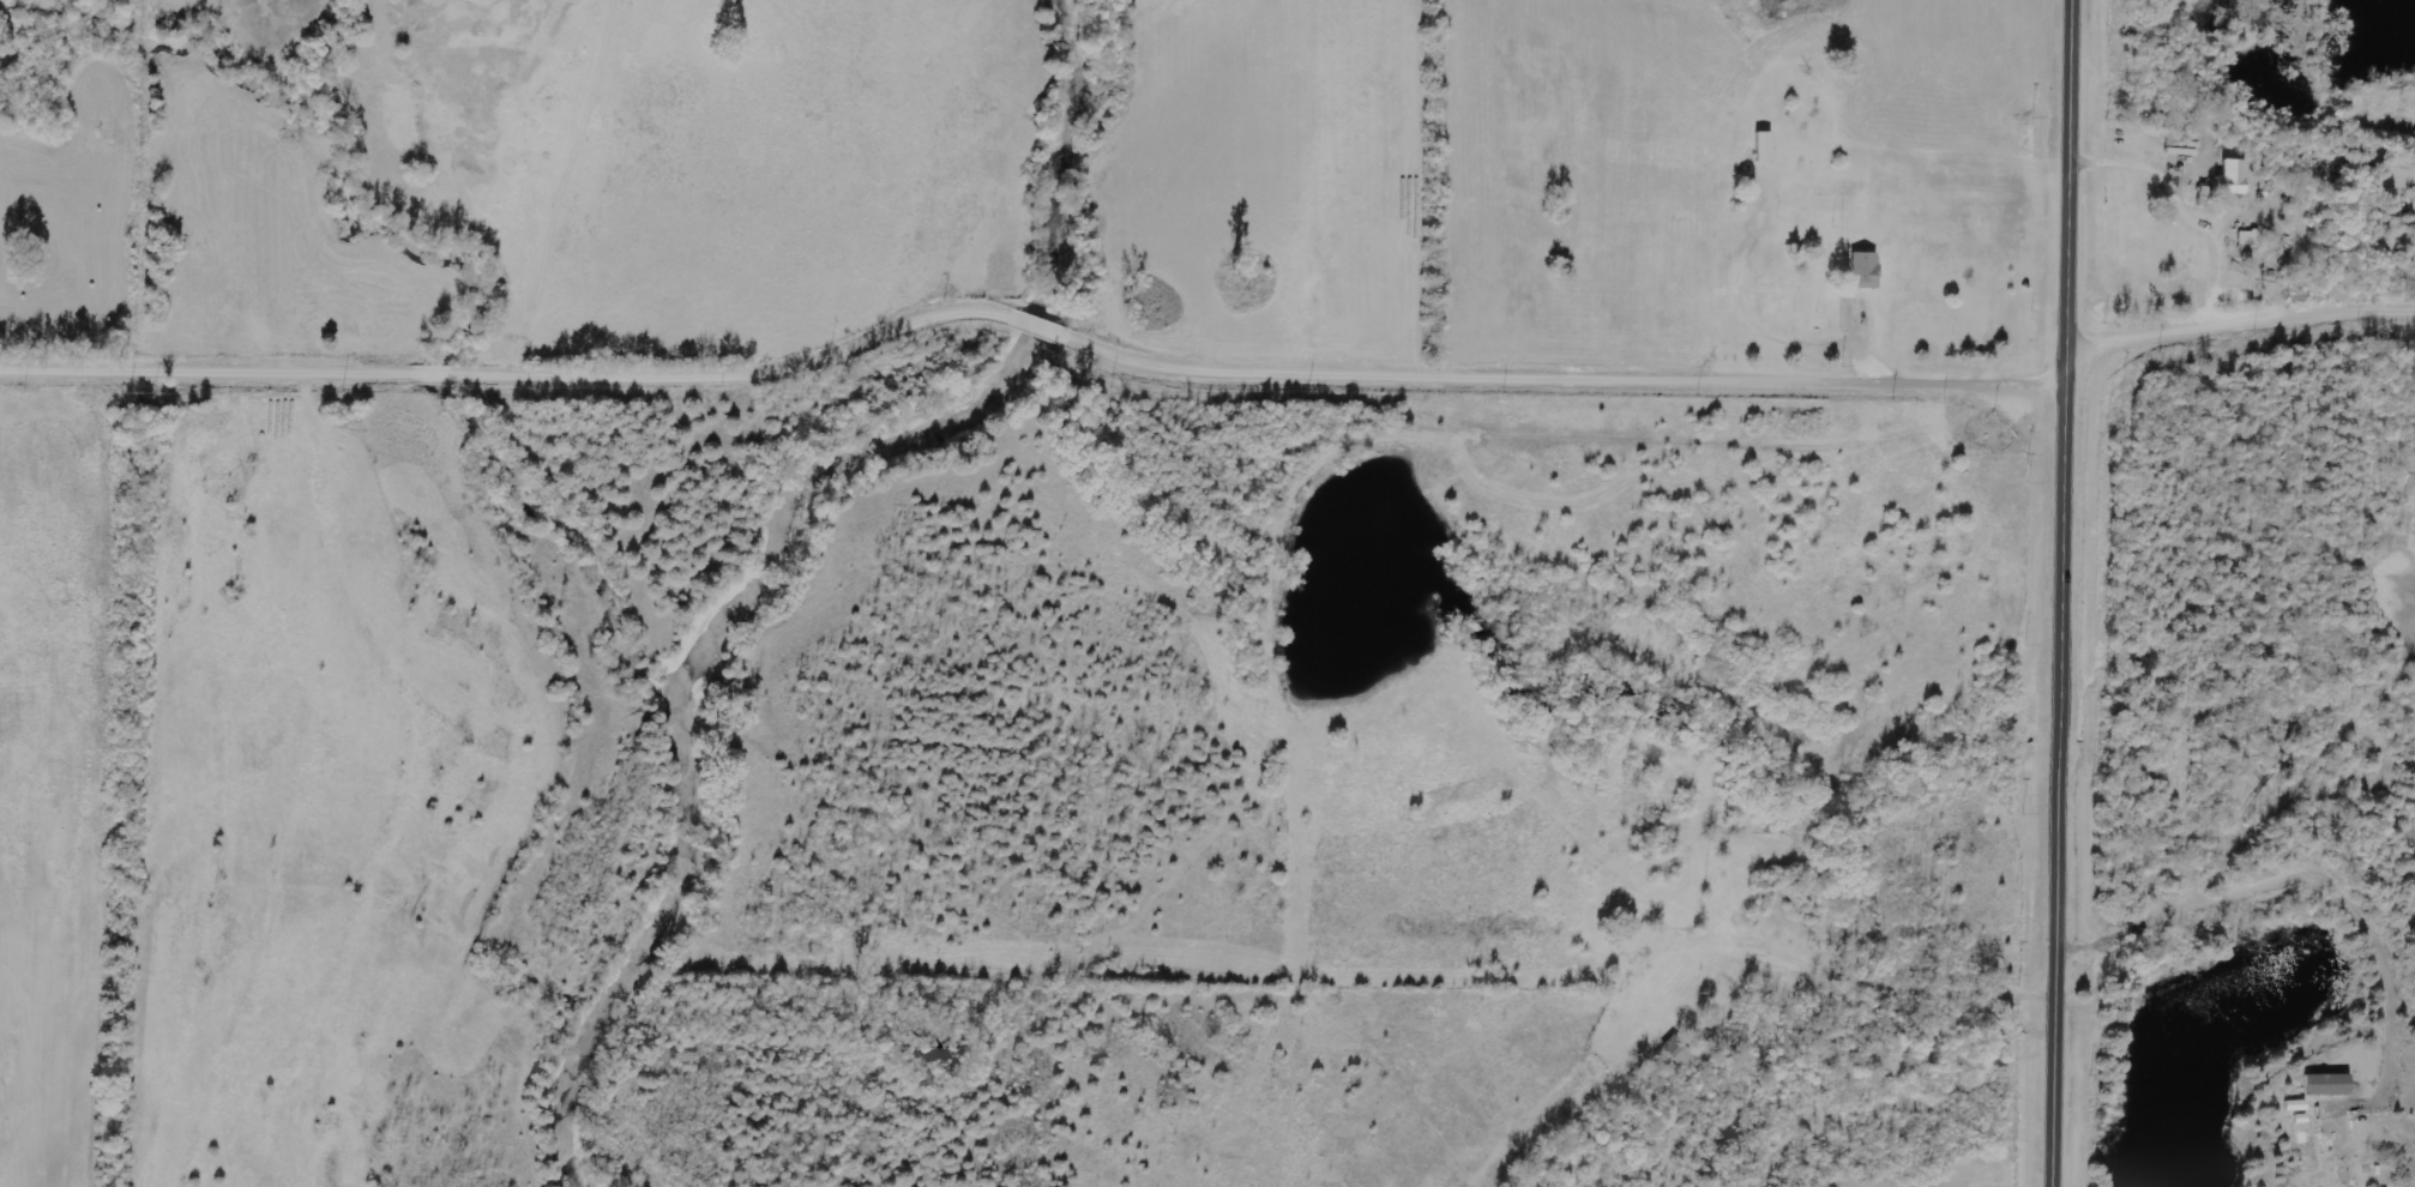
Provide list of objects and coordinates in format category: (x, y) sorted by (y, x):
building: (1760, 147)
building: (2229, 180)
building: (1862, 271)
road: (1038, 318)
road: (2241, 323)
road: (2068, 592)
building: (2326, 1086)

